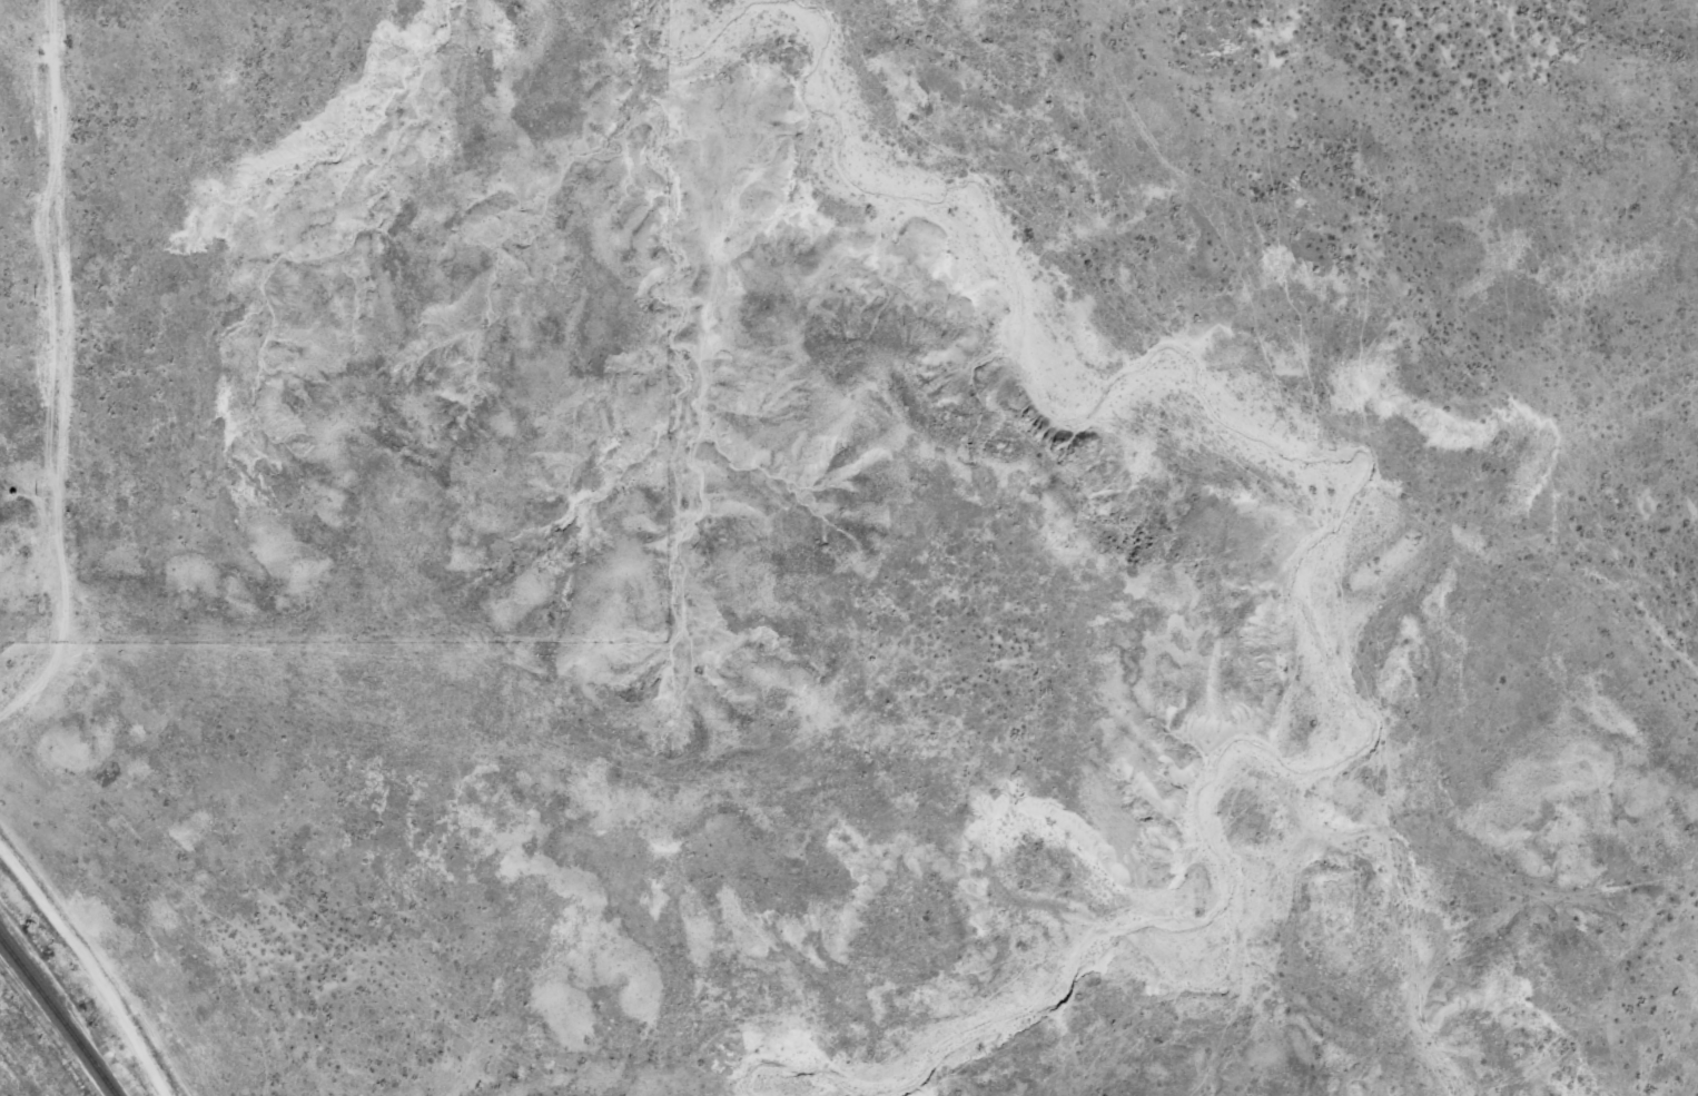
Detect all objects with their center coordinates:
road: (33, 324)
railway: (56, 1020)

